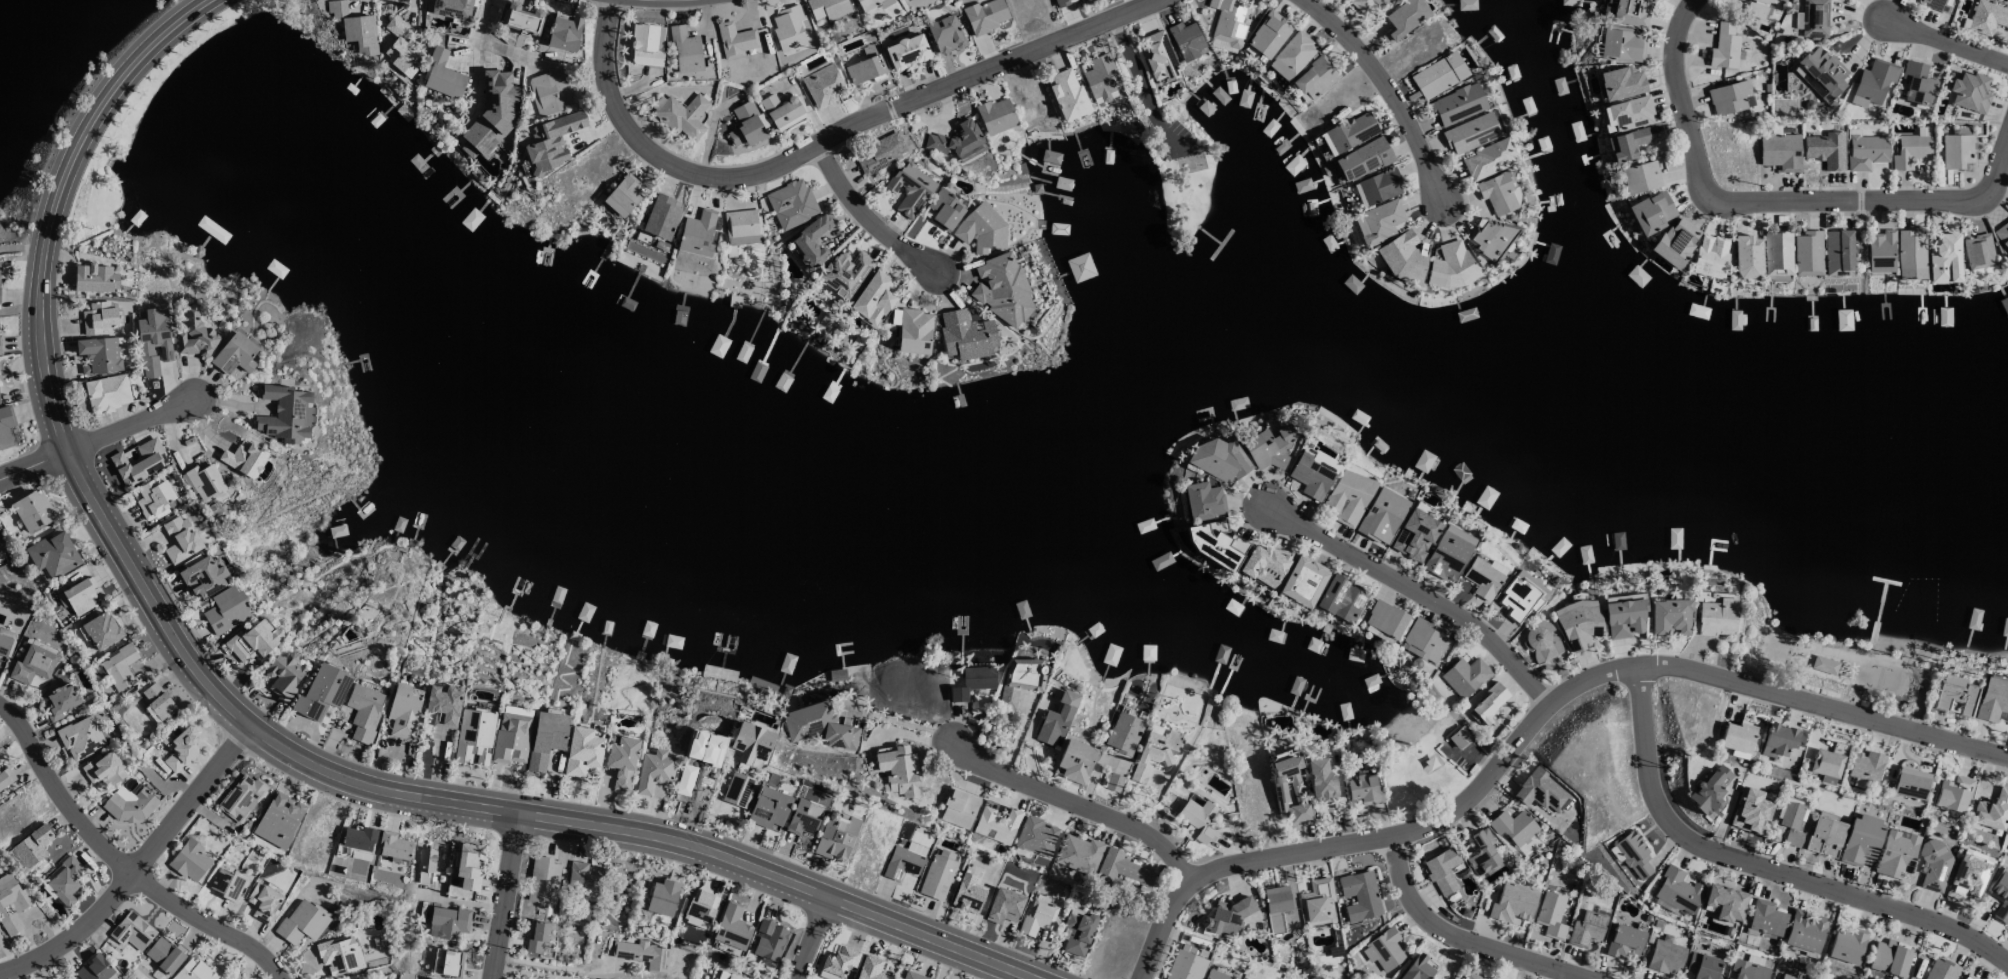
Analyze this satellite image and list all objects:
building: (1060, 2)
building: (866, 3)
building: (1368, 5)
building: (1937, 5)
building: (451, 8)
building: (827, 8)
building: (1758, 8)
building: (1629, 12)
building: (985, 15)
building: (1987, 17)
building: (1403, 18)
building: (520, 19)
building: (1812, 19)
building: (1228, 21)
building: (354, 27)
building: (787, 28)
building: (563, 33)
road: (175, 34)
building: (1267, 34)
building: (943, 35)
building: (735, 40)
building: (1186, 40)
road: (486, 42)
building: (646, 45)
building: (1618, 45)
road: (1948, 45)
building: (1724, 47)
building: (685, 50)
building: (869, 50)
building: (905, 51)
building: (400, 53)
building: (1291, 56)
building: (1159, 57)
building: (865, 70)
building: (1820, 73)
building: (442, 75)
building: (1437, 75)
building: (1100, 78)
building: (1315, 78)
building: (1874, 80)
building: (1619, 83)
building: (822, 85)
building: (1917, 85)
road: (1140, 87)
road: (1386, 87)
building: (548, 92)
building: (1969, 92)
building: (1067, 94)
building: (1729, 97)
building: (1857, 101)
building: (1456, 104)
building: (780, 110)
building: (492, 112)
building: (1629, 113)
building: (681, 115)
building: (995, 116)
building: (745, 126)
building: (1348, 133)
building: (1470, 133)
building: (955, 139)
road: (826, 140)
building: (551, 142)
building: (1625, 144)
park: (1172, 147)
building: (468, 150)
building: (1826, 150)
building: (1865, 150)
building: (1910, 151)
building: (1956, 151)
building: (1780, 152)
building: (879, 154)
building: (1362, 159)
building: (1487, 160)
road: (2000, 172)
building: (1640, 177)
building: (1379, 186)
building: (909, 190)
building: (1497, 193)
building: (622, 197)
road: (1746, 197)
building: (791, 204)
building: (944, 210)
building: (1650, 212)
road: (865, 214)
building: (660, 217)
building: (1378, 222)
building: (742, 227)
building: (980, 229)
building: (697, 234)
building: (2002, 237)
building: (1490, 238)
building: (809, 241)
building: (1674, 242)
road: (23, 248)
building: (1978, 251)
building: (1881, 252)
building: (1776, 253)
building: (1807, 253)
building: (1838, 253)
building: (1911, 255)
building: (1709, 256)
building: (1404, 257)
building: (1746, 257)
building: (1944, 258)
building: (1450, 266)
building: (845, 273)
building: (94, 278)
building: (1001, 289)
building: (873, 298)
building: (99, 317)
building: (824, 323)
building: (914, 332)
building: (192, 334)
building: (965, 335)
building: (154, 339)
building: (121, 347)
building: (0, 350)
building: (234, 354)
building: (99, 355)
building: (107, 393)
building: (284, 414)
building: (5, 426)
road: (97, 439)
building: (1268, 447)
building: (243, 459)
building: (1219, 461)
building: (138, 462)
building: (1313, 473)
building: (204, 482)
building: (1348, 497)
building: (154, 498)
building: (1203, 501)
building: (33, 511)
building: (1382, 516)
building: (1217, 527)
building: (1414, 535)
building: (180, 540)
building: (1, 546)
building: (1217, 546)
building: (1448, 553)
building: (53, 555)
building: (1264, 565)
building: (202, 576)
building: (1482, 578)
building: (1302, 581)
pier: (1883, 581)
road: (1416, 587)
building: (78, 596)
building: (1521, 596)
building: (1341, 599)
building: (226, 610)
pier: (1876, 611)
building: (1669, 616)
building: (1716, 617)
building: (1623, 618)
building: (1385, 619)
building: (1579, 624)
building: (100, 631)
building: (253, 641)
building: (1423, 641)
building: (1541, 642)
building: (4, 646)
park: (1775, 646)
park: (1843, 654)
building: (32, 665)
building: (1824, 665)
building: (119, 667)
building: (283, 675)
park: (1880, 675)
building: (1464, 676)
building: (1020, 679)
building: (972, 682)
building: (321, 692)
building: (1955, 694)
building: (1992, 700)
building: (61, 701)
building: (158, 703)
building: (442, 705)
building: (1489, 705)
building: (363, 711)
building: (402, 712)
building: (1056, 719)
road: (1531, 720)
road: (897, 721)
building: (819, 726)
building: (1124, 734)
building: (512, 735)
building: (80, 737)
building: (473, 737)
building: (1459, 737)
building: (1737, 737)
building: (545, 739)
building: (1778, 741)
road: (289, 744)
building: (181, 749)
building: (1156, 749)
building: (582, 753)
park: (1422, 755)
building: (620, 761)
building: (1075, 761)
building: (1866, 766)
building: (103, 769)
building: (653, 771)
building: (898, 771)
building: (5, 777)
building: (1319, 780)
building: (1114, 782)
building: (1910, 783)
building: (1288, 789)
building: (737, 790)
building: (1364, 790)
building: (1708, 790)
building: (1540, 791)
building: (1953, 794)
building: (241, 798)
building: (128, 805)
road: (1074, 805)
building: (768, 809)
building: (958, 809)
building: (1750, 811)
building: (1992, 811)
building: (801, 817)
building: (278, 820)
building: (1197, 821)
building: (1791, 823)
building: (1514, 828)
building: (2007, 833)
building: (836, 836)
building: (1036, 836)
building: (1825, 836)
building: (358, 838)
building: (1861, 839)
building: (31, 846)
building: (393, 846)
building: (1481, 852)
building: (1895, 853)
building: (1079, 854)
building: (1633, 854)
road: (122, 859)
building: (426, 860)
building: (189, 861)
building: (904, 861)
road: (140, 864)
building: (469, 866)
road: (1765, 866)
building: (1932, 866)
building: (1122, 868)
building: (1441, 870)
building: (938, 875)
building: (1967, 875)
building: (583, 878)
building: (542, 880)
building: (66, 881)
building: (226, 884)
building: (968, 890)
building: (1677, 890)
road: (505, 895)
building: (1360, 895)
building: (662, 897)
building: (1316, 900)
building: (264, 902)
building: (1513, 902)
building: (1725, 902)
building: (12, 904)
building: (1003, 906)
building: (1276, 908)
building: (700, 910)
building: (1038, 915)
building: (1550, 915)
building: (1225, 916)
building: (1766, 918)
building: (448, 922)
building: (301, 923)
building: (732, 927)
building: (1586, 929)
building: (131, 931)
building: (1078, 931)
building: (1804, 932)
building: (537, 937)
road: (808, 937)
road: (1454, 939)
building: (768, 940)
building: (1625, 942)
building: (1846, 945)
building: (1382, 950)
building: (165, 954)
building: (339, 955)
building: (642, 955)
building: (1665, 956)
building: (1889, 958)
building: (839, 961)
road: (4, 962)
building: (447, 963)
road: (952, 964)
road: (557, 966)
building: (1185, 966)
building: (1702, 966)
building: (1418, 968)
building: (94, 969)
building: (870, 969)
building: (1747, 970)
building: (1940, 970)
building: (195, 971)
road: (531, 973)
building: (725, 975)
building: (912, 975)
building: (1217, 975)
building: (1471, 976)
building: (1786, 977)
building: (1968, 977)
building: (72, 978)
building: (222, 978)
building: (429, 978)
building: (897, 978)

